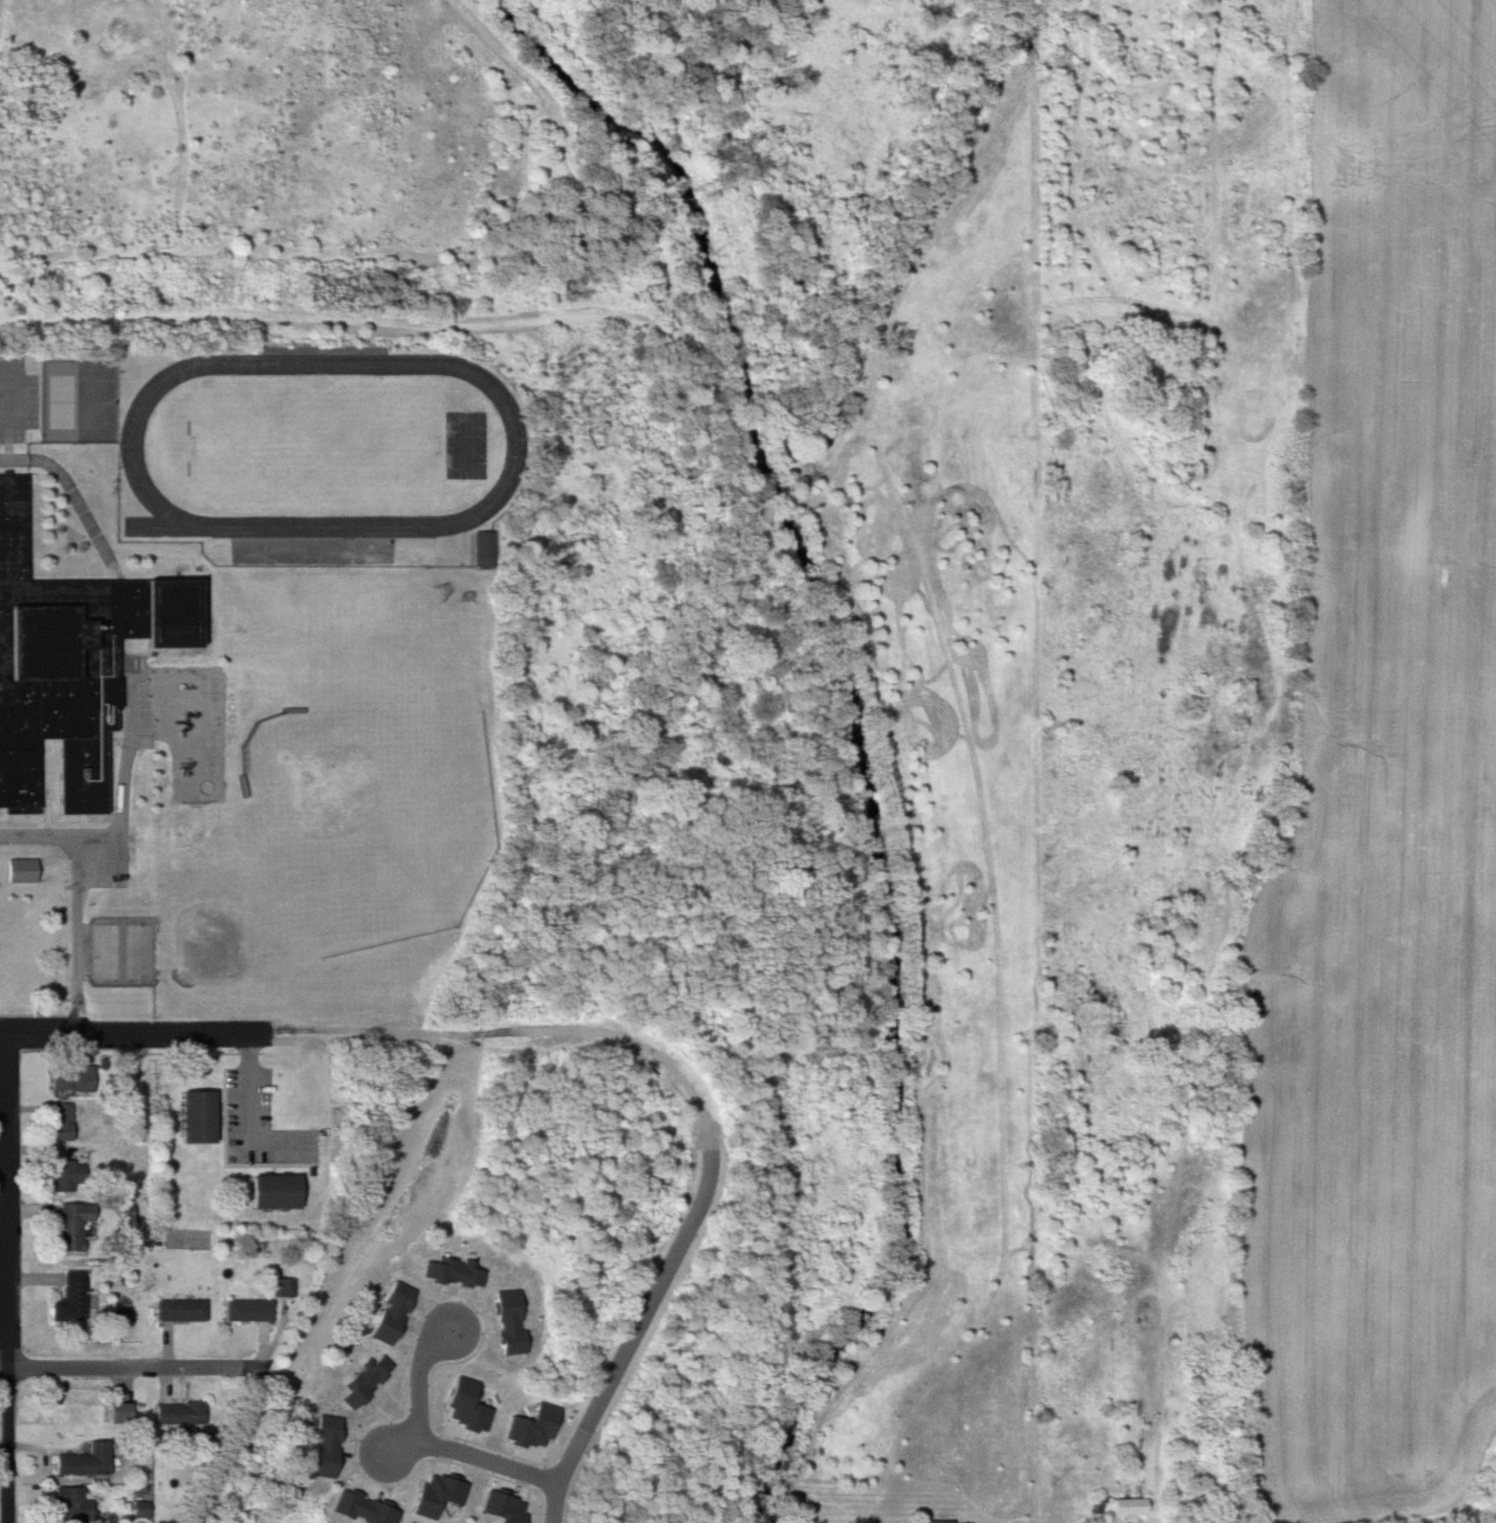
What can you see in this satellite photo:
park: (57, 403)
park: (314, 445)
road: (67, 483)
building: (483, 549)
building: (68, 663)
park: (379, 816)
building: (21, 871)
road: (81, 899)
road: (136, 1034)
building: (71, 1079)
road: (251, 1109)
building: (195, 1118)
building: (61, 1123)
road: (4, 1148)
building: (67, 1177)
building: (273, 1192)
road: (8, 1201)
building: (73, 1225)
building: (282, 1287)
building: (72, 1298)
building: (181, 1311)
building: (249, 1311)
road: (622, 1363)
road: (136, 1368)
road: (5, 1369)
road: (416, 1381)
building: (75, 1412)
building: (118, 1412)
building: (181, 1413)
road: (414, 1442)
road: (10, 1446)
building: (85, 1460)
building: (1101, 1503)
building: (75, 1504)
building: (1129, 1506)
building: (142, 1509)
building: (934, 1521)

